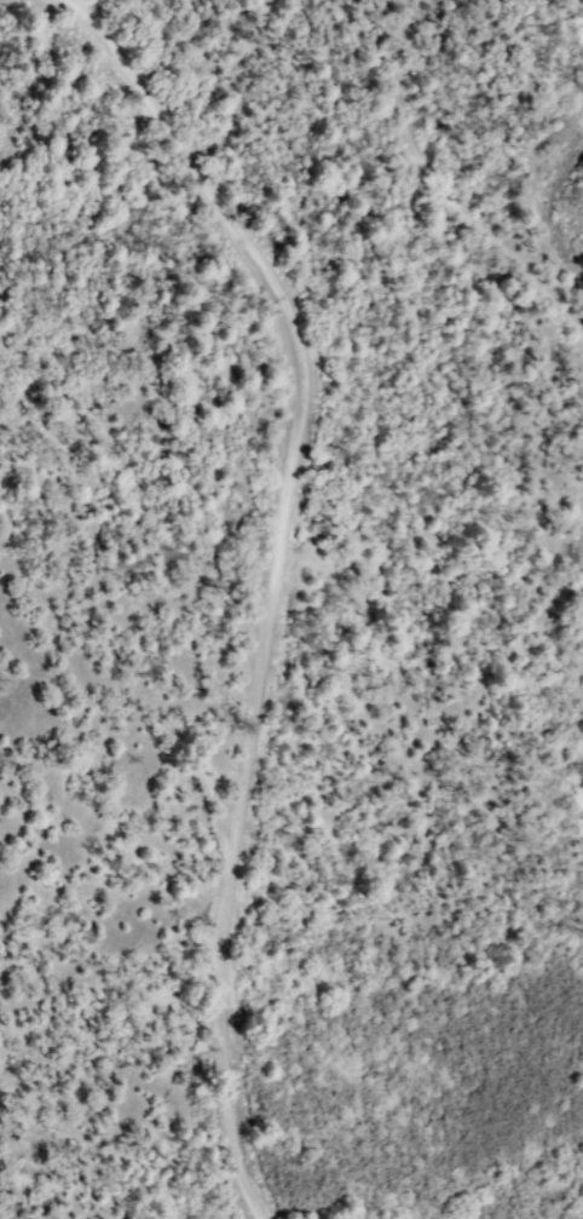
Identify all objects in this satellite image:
road: (271, 573)

